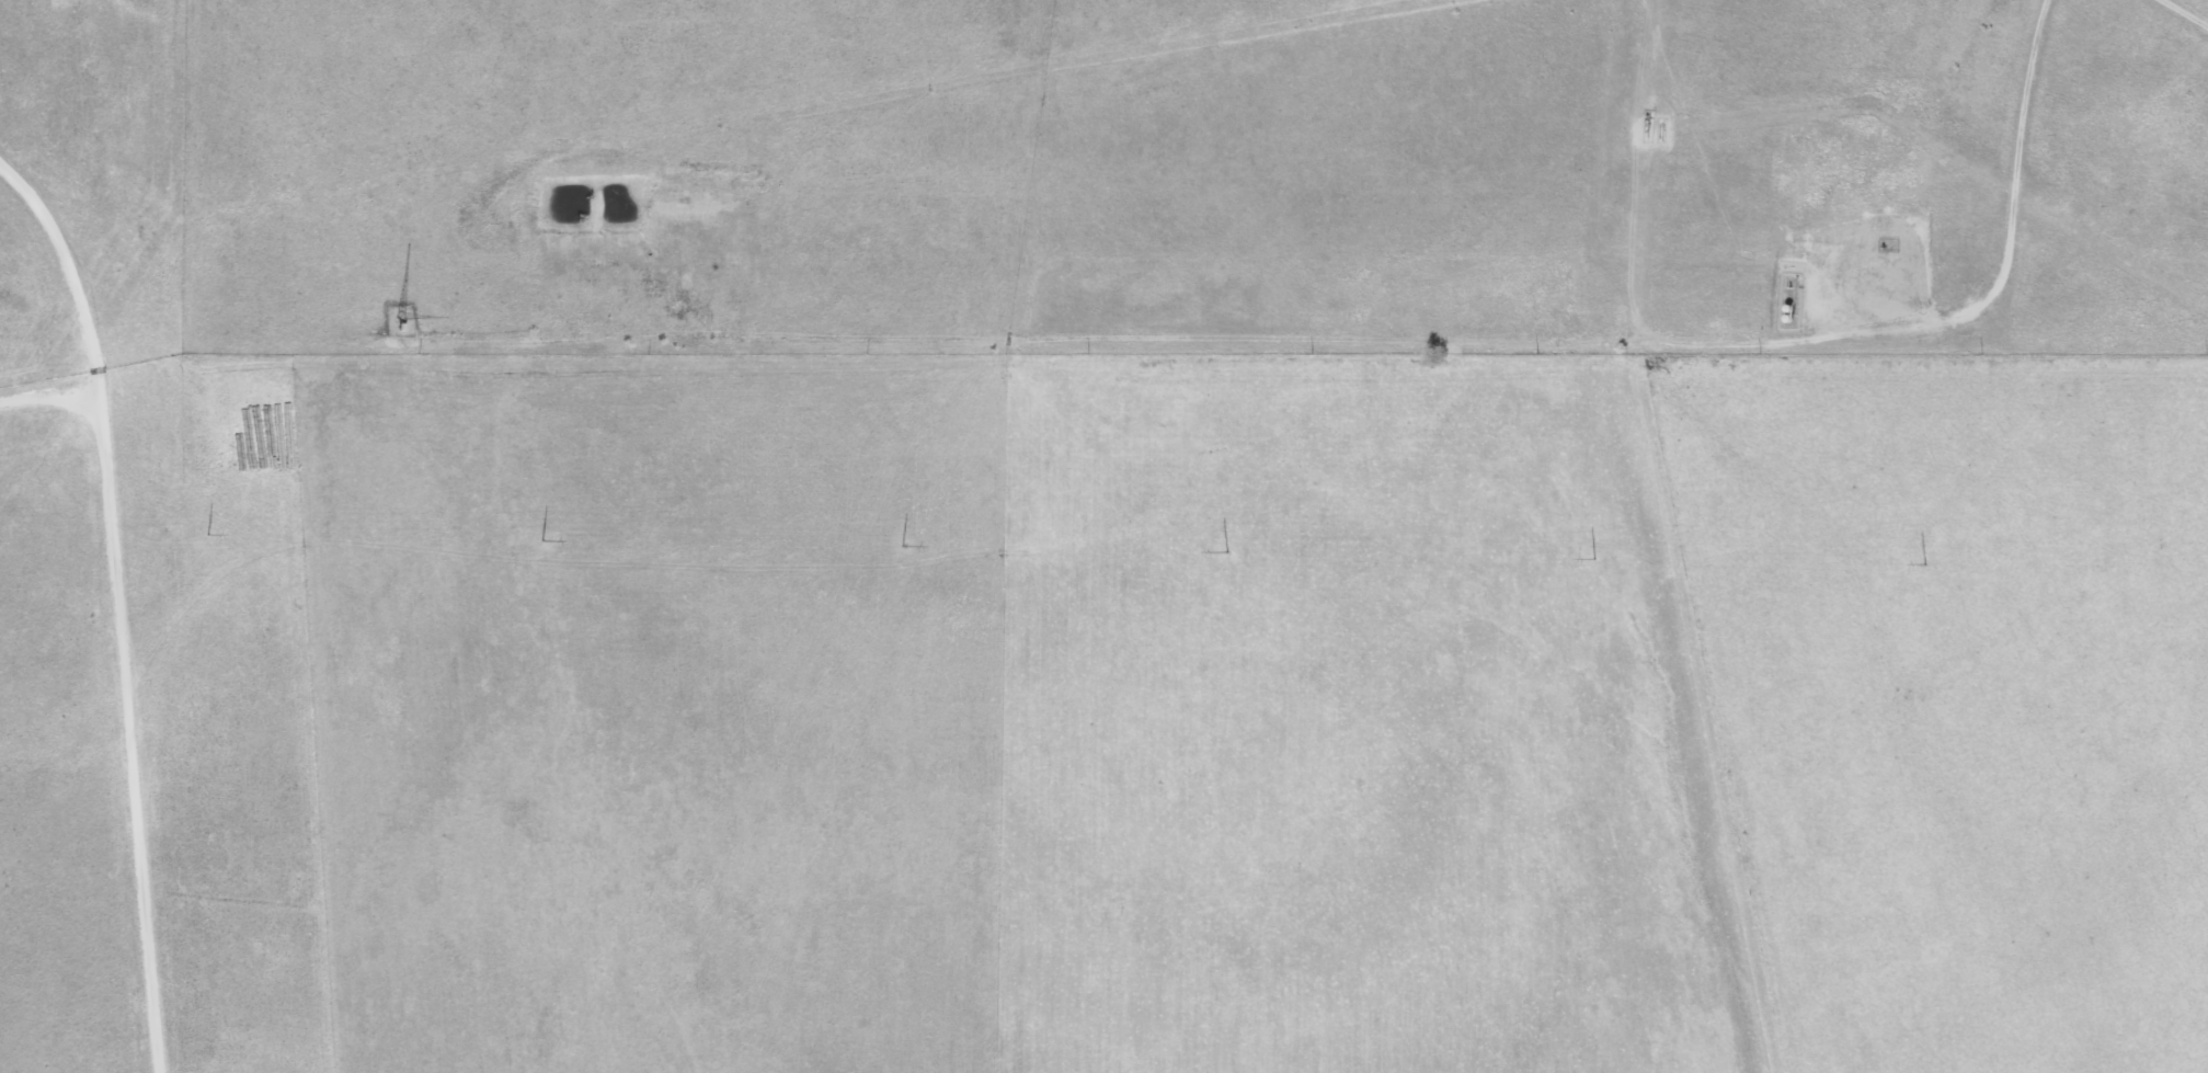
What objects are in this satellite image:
road: (47, 395)
road: (118, 602)

